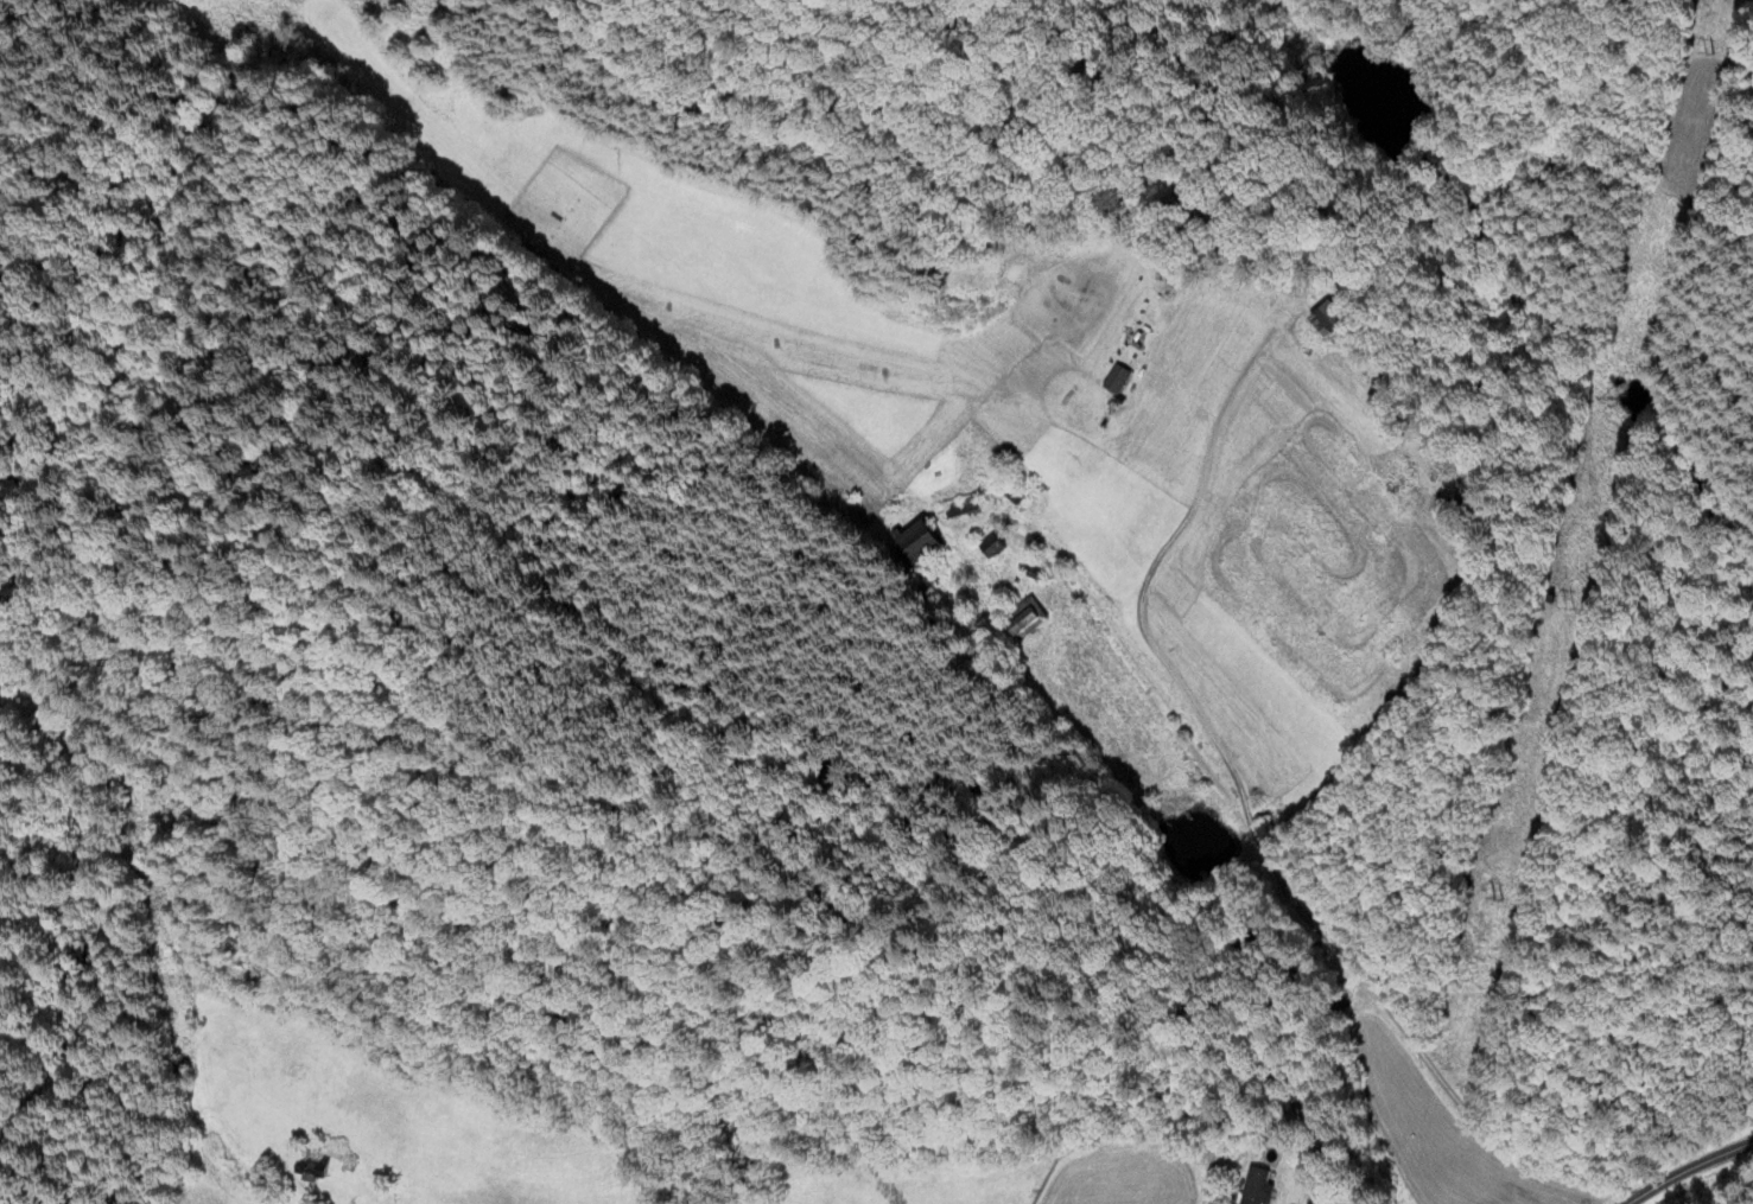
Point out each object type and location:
building: (1328, 319)
building: (1114, 381)
building: (959, 507)
building: (913, 544)
building: (1027, 620)
road: (1139, 676)
road: (1690, 1171)
building: (1255, 1187)
road: (1627, 1202)

